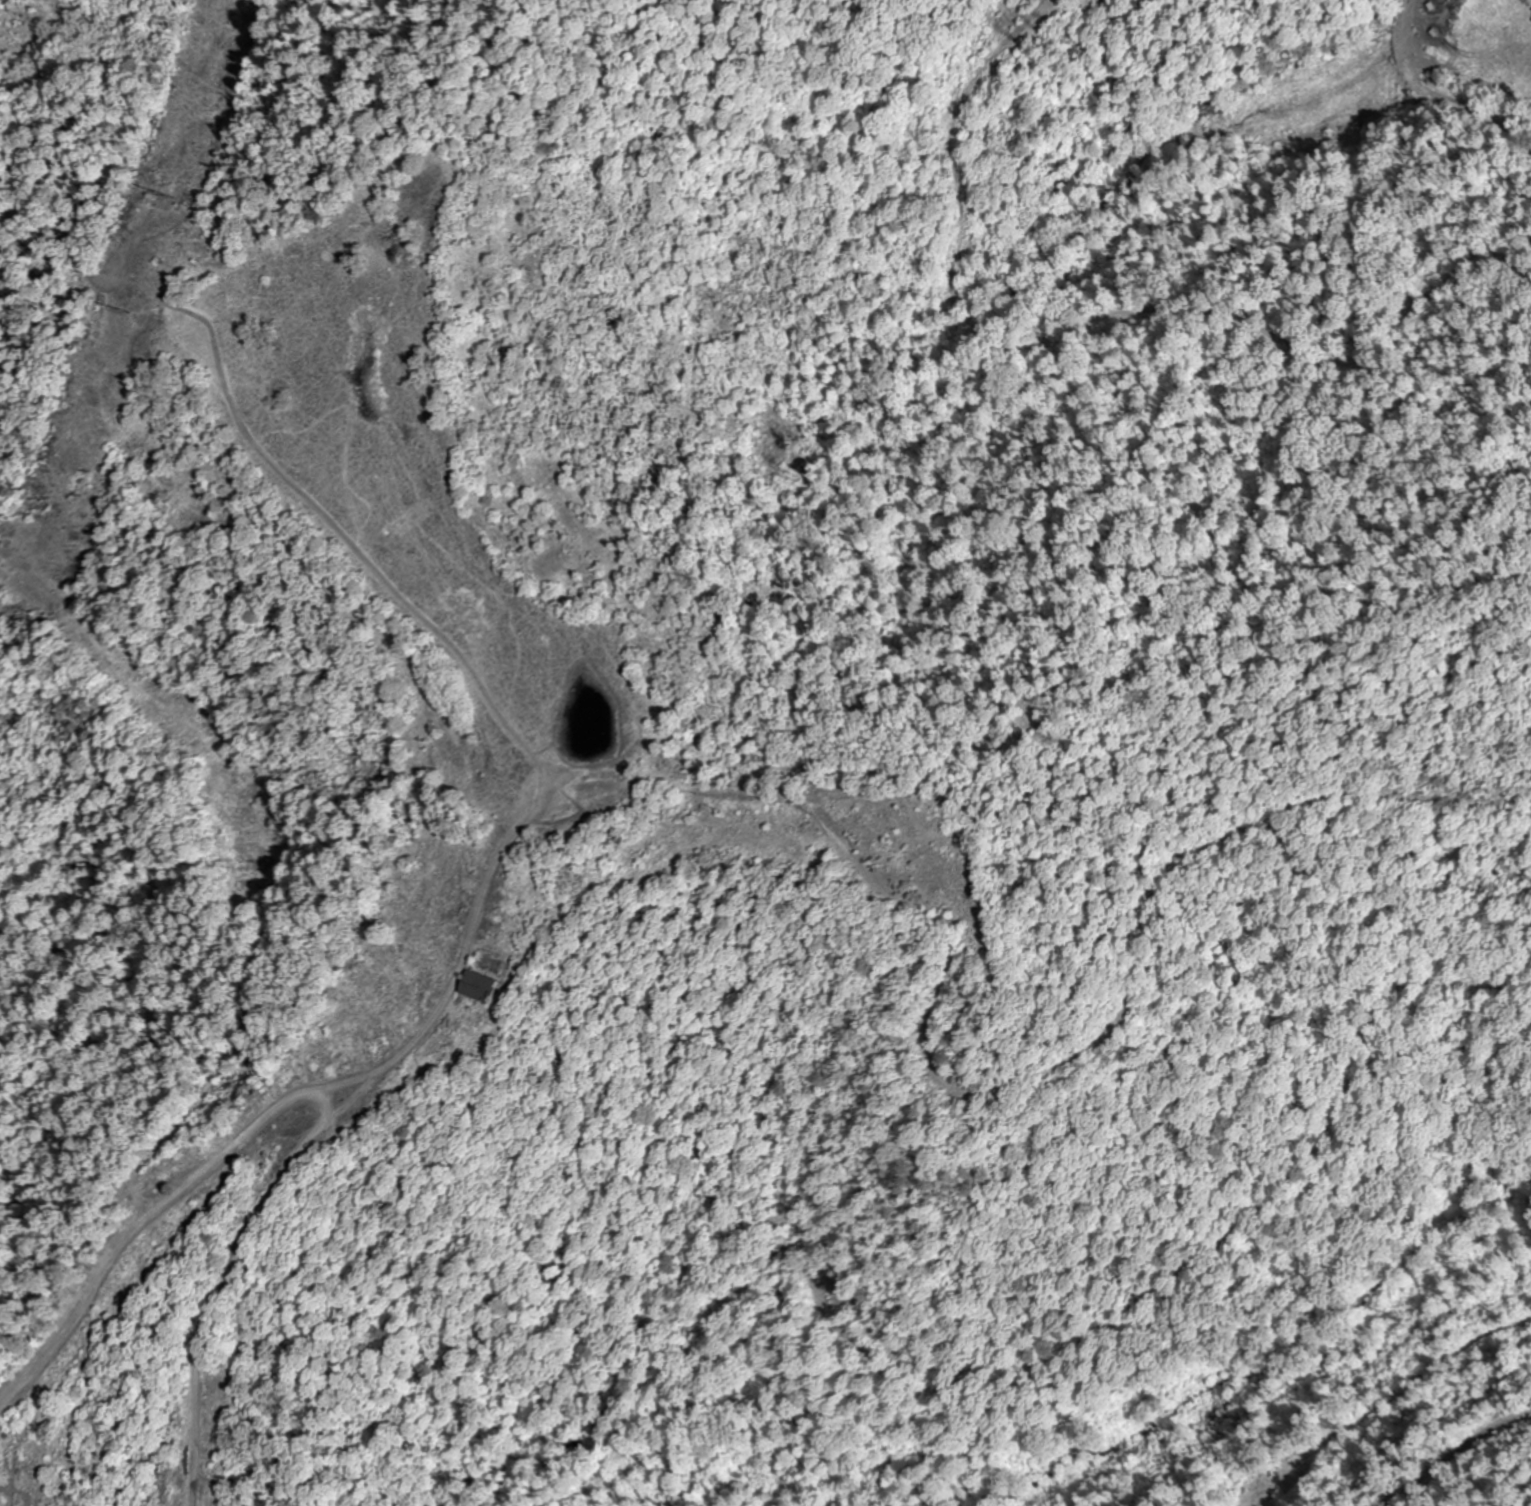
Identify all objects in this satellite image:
power tower: (186, 194)
building: (474, 987)

